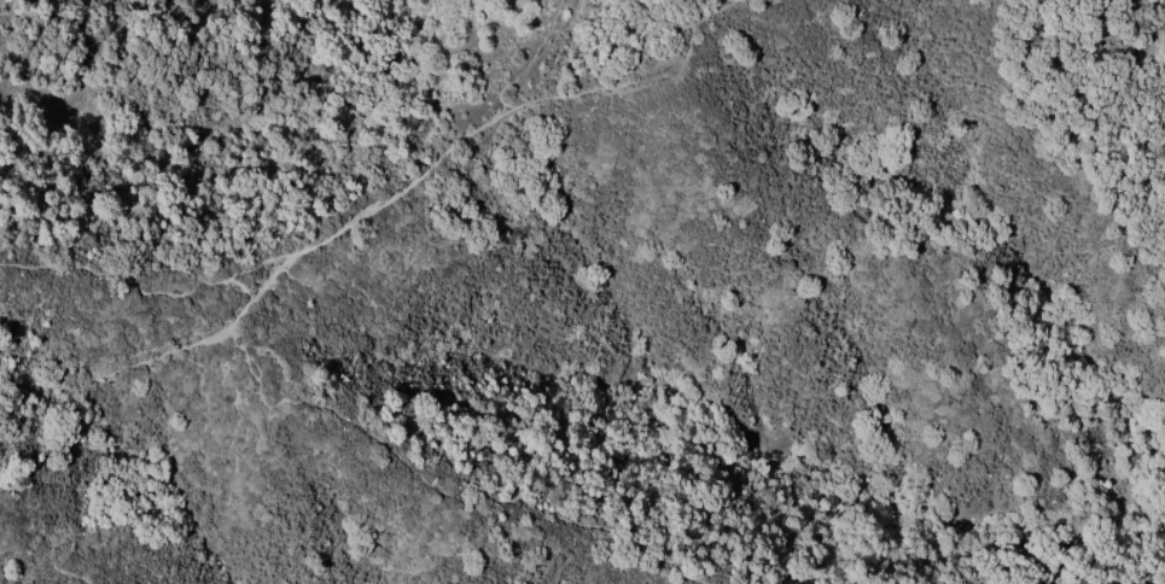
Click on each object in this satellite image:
road: (534, 59)
road: (361, 220)
road: (436, 485)

